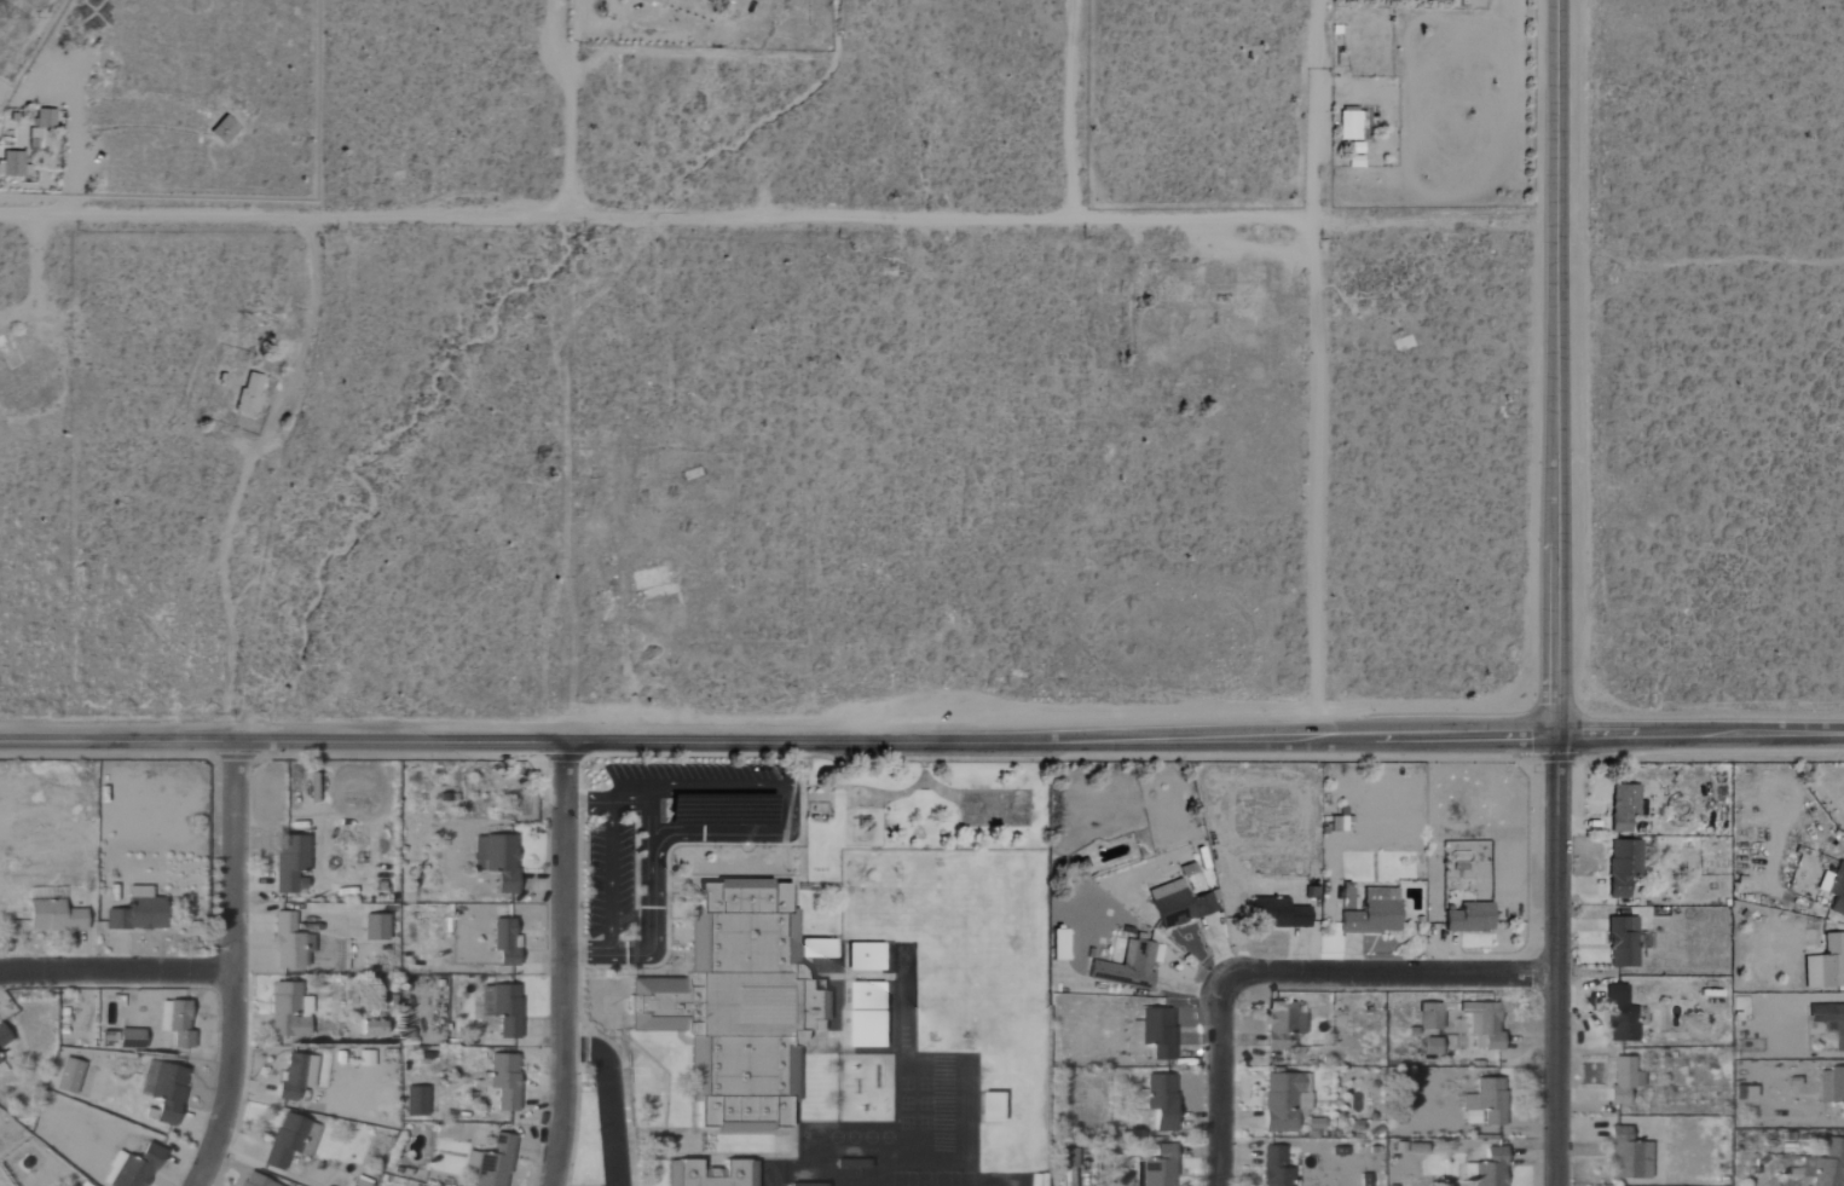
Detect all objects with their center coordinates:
building: (655, 1)
road: (572, 105)
road: (1074, 109)
building: (46, 118)
building: (1351, 126)
building: (225, 131)
building: (13, 164)
road: (776, 218)
road: (1695, 262)
road: (1316, 366)
building: (252, 394)
road: (252, 473)
road: (1555, 592)
road: (921, 739)
road: (906, 792)
park: (995, 806)
park: (919, 808)
building: (1625, 808)
road: (648, 821)
road: (757, 833)
building: (498, 861)
building: (291, 862)
building: (1625, 867)
road: (609, 878)
building: (1834, 889)
building: (1181, 904)
building: (139, 913)
building: (1376, 913)
building: (1281, 914)
building: (56, 916)
building: (1472, 919)
building: (376, 928)
building: (288, 943)
building: (505, 943)
building: (1624, 943)
building: (819, 949)
building: (867, 958)
building: (1827, 965)
road: (570, 966)
building: (1131, 966)
road: (117, 968)
road: (237, 968)
road: (1386, 970)
building: (867, 996)
building: (503, 1008)
building: (290, 1012)
building: (1622, 1016)
building: (1430, 1017)
building: (1831, 1022)
building: (179, 1025)
building: (1283, 1025)
building: (1485, 1025)
building: (374, 1028)
building: (867, 1030)
building: (1156, 1032)
building: (4, 1036)
building: (1433, 1047)
building: (366, 1059)
building: (0, 1063)
building: (1599, 1074)
building: (69, 1076)
building: (297, 1077)
building: (505, 1081)
building: (1625, 1081)
building: (1832, 1087)
building: (166, 1090)
road: (1226, 1090)
building: (1161, 1100)
building: (1284, 1101)
building: (417, 1103)
road: (611, 1103)
building: (1486, 1104)
building: (291, 1141)
building: (1630, 1156)
building: (1069, 1159)
building: (493, 1163)
building: (1827, 1165)
building: (1161, 1167)
building: (133, 1168)
building: (1277, 1168)
building: (1489, 1169)
building: (1139, 1173)
building: (694, 1175)
building: (254, 1181)
building: (815, 1185)

